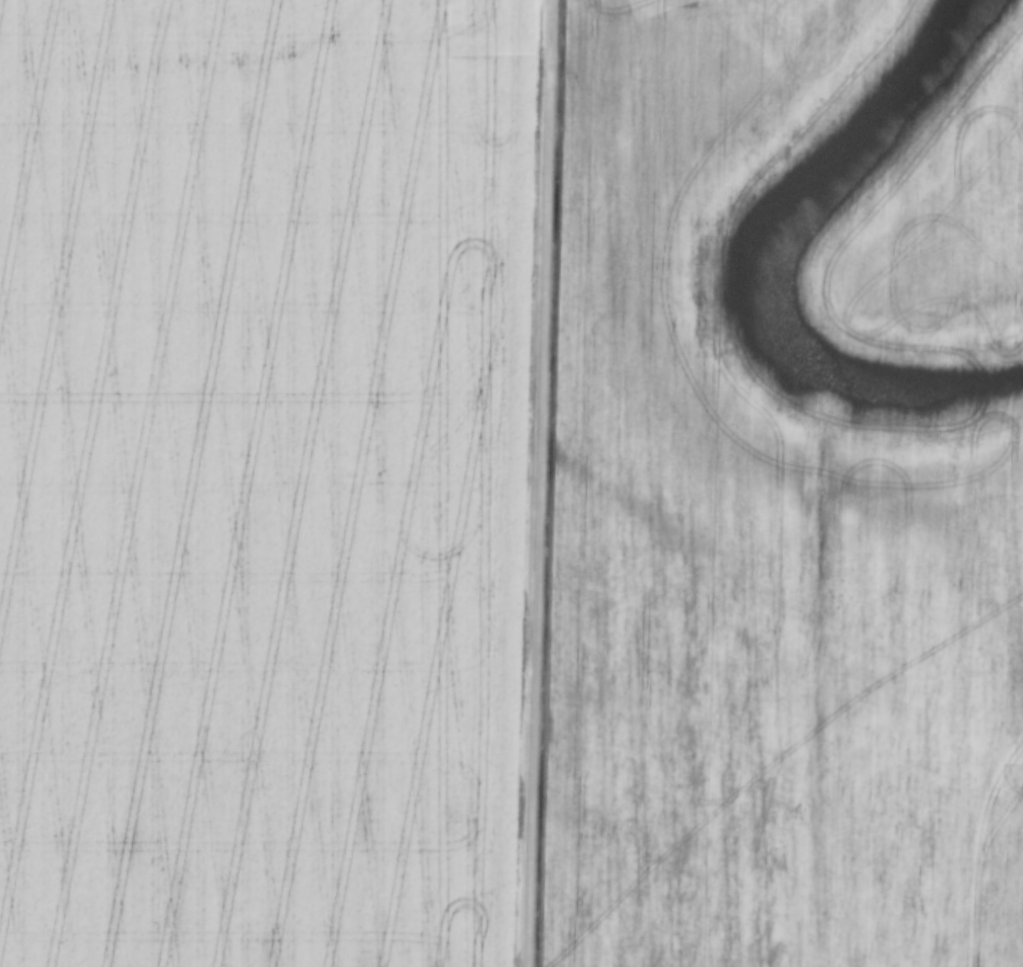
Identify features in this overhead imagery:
crop: (260, 479)
road: (530, 483)
crop: (786, 487)

